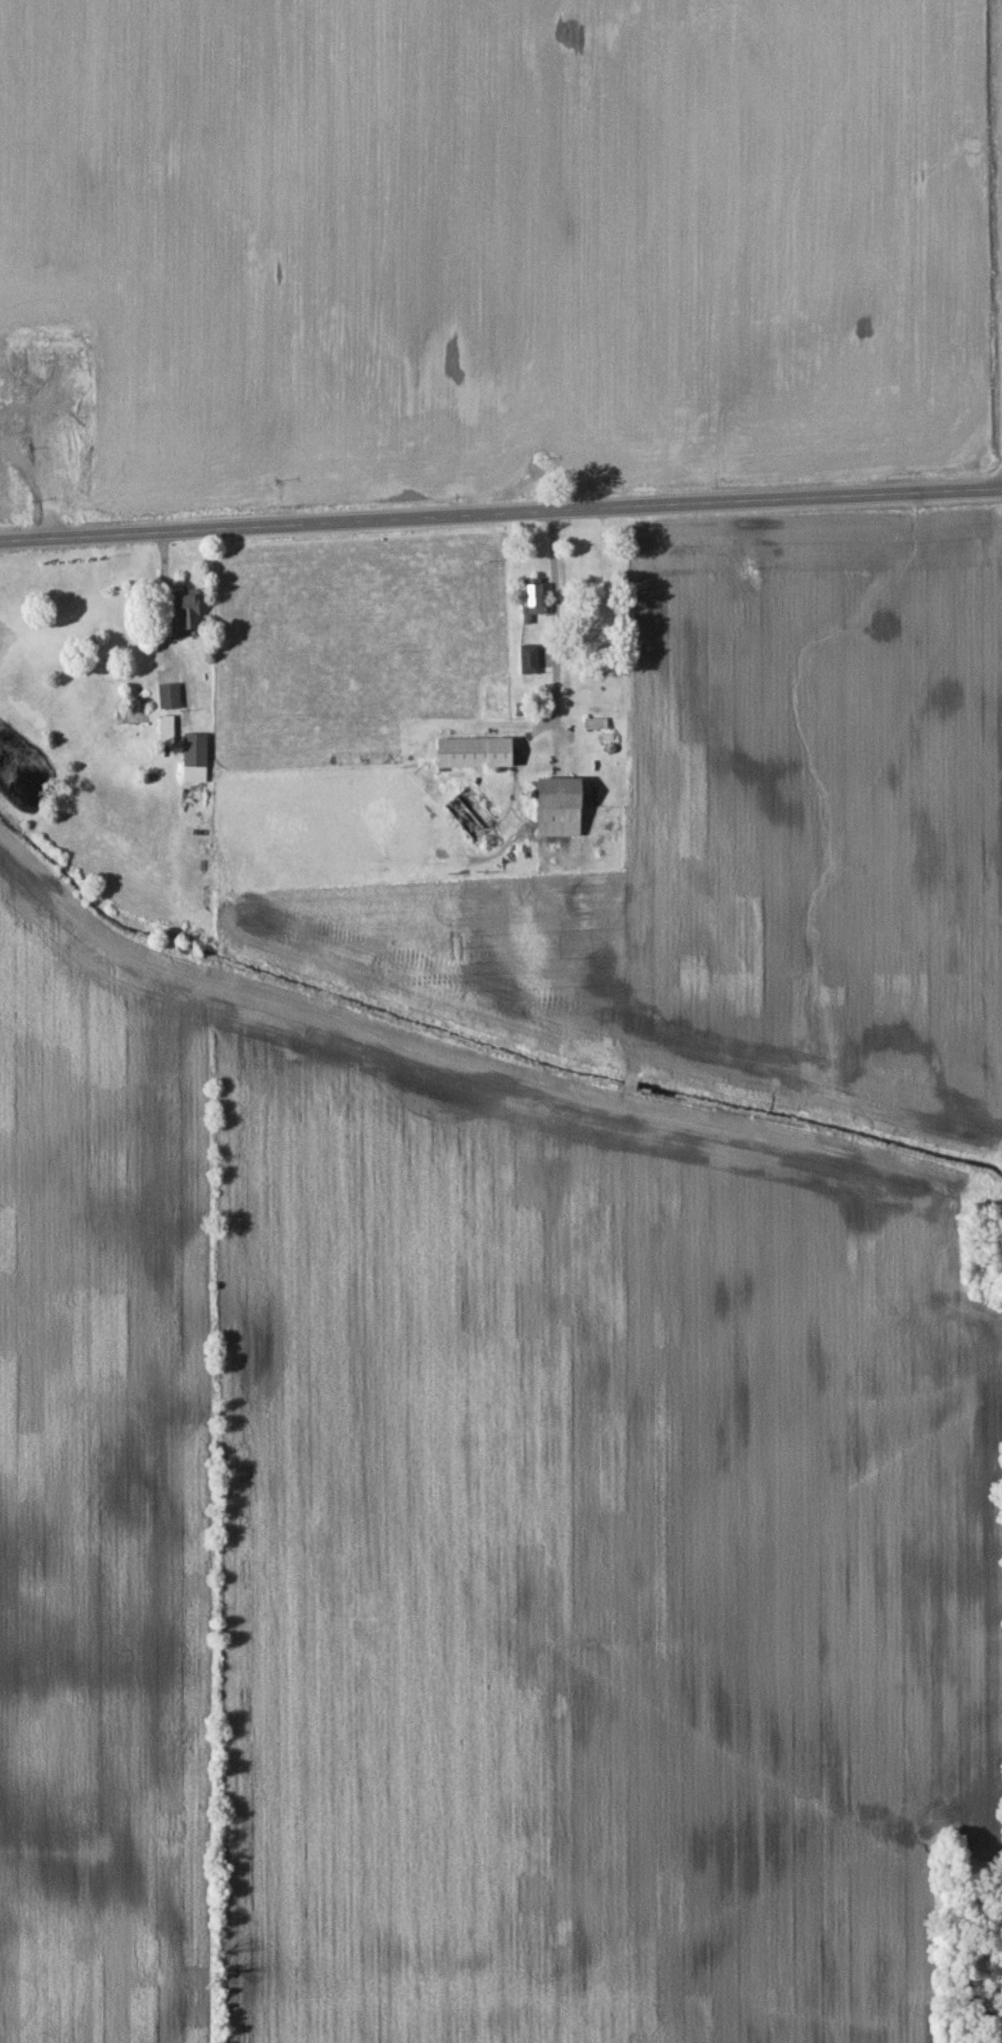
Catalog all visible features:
building: (17, 372)
road: (501, 514)
building: (533, 603)
building: (190, 614)
road: (555, 634)
building: (530, 664)
building: (171, 701)
building: (168, 734)
building: (478, 757)
building: (196, 762)
building: (563, 811)

